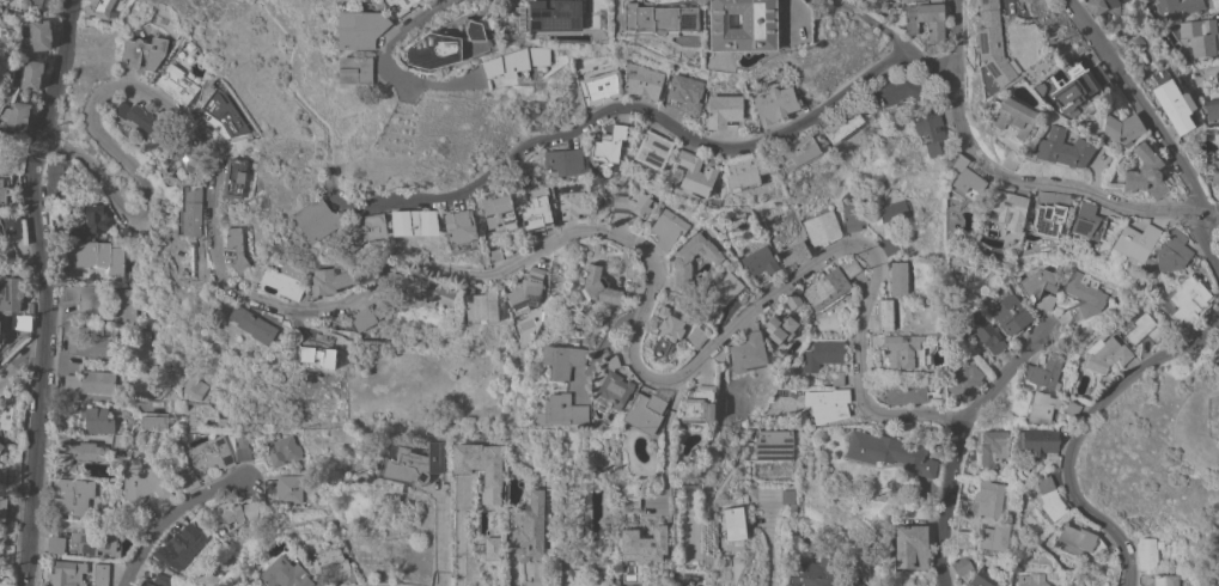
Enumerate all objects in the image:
building: (1144, 0)
building: (20, 4)
building: (1101, 5)
building: (401, 6)
building: (596, 7)
building: (1180, 7)
building: (100, 8)
building: (555, 14)
building: (920, 18)
building: (658, 19)
building: (496, 20)
road: (873, 23)
building: (742, 25)
building: (361, 28)
road: (957, 31)
building: (41, 35)
building: (1199, 36)
road: (389, 43)
building: (993, 44)
building: (435, 51)
building: (142, 53)
building: (517, 61)
building: (356, 69)
building: (1062, 72)
building: (31, 73)
building: (644, 80)
building: (177, 84)
building: (601, 87)
building: (1071, 87)
road: (293, 88)
building: (896, 91)
building: (685, 94)
building: (1174, 100)
building: (775, 104)
road: (639, 106)
building: (1212, 108)
building: (723, 110)
building: (18, 116)
building: (220, 116)
building: (1013, 118)
building: (136, 120)
building: (842, 126)
building: (1121, 129)
building: (928, 130)
road: (1157, 130)
building: (1218, 134)
building: (608, 147)
building: (1062, 148)
building: (653, 151)
building: (187, 154)
building: (797, 154)
building: (1010, 160)
building: (565, 164)
building: (746, 170)
building: (1214, 171)
building: (697, 172)
building: (1145, 172)
building: (234, 177)
building: (60, 179)
building: (965, 179)
road: (1046, 184)
building: (2, 193)
building: (629, 202)
building: (572, 205)
building: (1007, 208)
building: (499, 212)
building: (536, 213)
building: (896, 213)
building: (853, 214)
building: (191, 219)
building: (1046, 219)
building: (318, 220)
building: (1087, 220)
building: (92, 221)
building: (415, 221)
building: (12, 224)
building: (459, 225)
building: (668, 227)
building: (822, 227)
building: (364, 230)
building: (1135, 240)
building: (892, 245)
building: (237, 250)
road: (833, 250)
building: (1172, 251)
building: (794, 252)
building: (494, 254)
building: (95, 255)
road: (218, 260)
building: (681, 261)
building: (760, 265)
building: (849, 267)
building: (897, 276)
building: (282, 280)
building: (329, 281)
building: (964, 283)
building: (1042, 286)
building: (602, 287)
building: (827, 288)
building: (423, 289)
building: (526, 289)
road: (38, 291)
building: (10, 294)
building: (723, 294)
building: (1085, 294)
building: (87, 299)
building: (792, 300)
building: (1186, 300)
building: (124, 304)
building: (482, 305)
building: (662, 310)
building: (1010, 313)
building: (368, 315)
building: (883, 316)
building: (254, 324)
road: (617, 325)
road: (301, 328)
building: (781, 328)
building: (1141, 329)
building: (983, 331)
building: (668, 334)
building: (2, 335)
building: (696, 336)
building: (87, 344)
building: (139, 344)
building: (900, 349)
building: (1217, 349)
building: (748, 353)
building: (822, 354)
building: (1105, 354)
building: (317, 358)
building: (563, 358)
building: (1218, 358)
building: (1218, 360)
road: (19, 364)
building: (1044, 373)
building: (837, 378)
building: (91, 381)
building: (964, 383)
building: (193, 386)
building: (611, 391)
building: (906, 392)
road: (99, 396)
building: (697, 403)
building: (827, 404)
building: (1041, 407)
building: (1072, 408)
building: (565, 409)
building: (646, 410)
building: (96, 417)
road: (666, 421)
building: (153, 422)
road: (1079, 429)
road: (959, 439)
building: (116, 440)
building: (1036, 440)
building: (1, 445)
building: (769, 445)
building: (242, 446)
building: (282, 450)
building: (987, 450)
building: (212, 452)
building: (889, 452)
building: (75, 456)
building: (414, 463)
building: (492, 478)
building: (188, 480)
building: (144, 482)
building: (285, 488)
building: (72, 496)
building: (788, 498)
building: (1049, 499)
building: (632, 500)
building: (983, 500)
building: (4, 505)
building: (232, 512)
road: (165, 514)
building: (733, 525)
building: (526, 529)
road: (461, 531)
building: (1077, 536)
building: (994, 537)
building: (96, 539)
building: (964, 539)
building: (184, 543)
building: (343, 543)
building: (55, 544)
road: (769, 545)
building: (490, 547)
building: (912, 547)
building: (639, 550)
building: (1146, 553)
building: (297, 556)
building: (330, 561)
building: (961, 564)
building: (815, 572)
building: (286, 573)
building: (67, 574)
building: (100, 574)
building: (983, 578)
building: (161, 579)
building: (1032, 579)
building: (1162, 579)
building: (852, 581)
building: (146, 584)
building: (255, 585)

